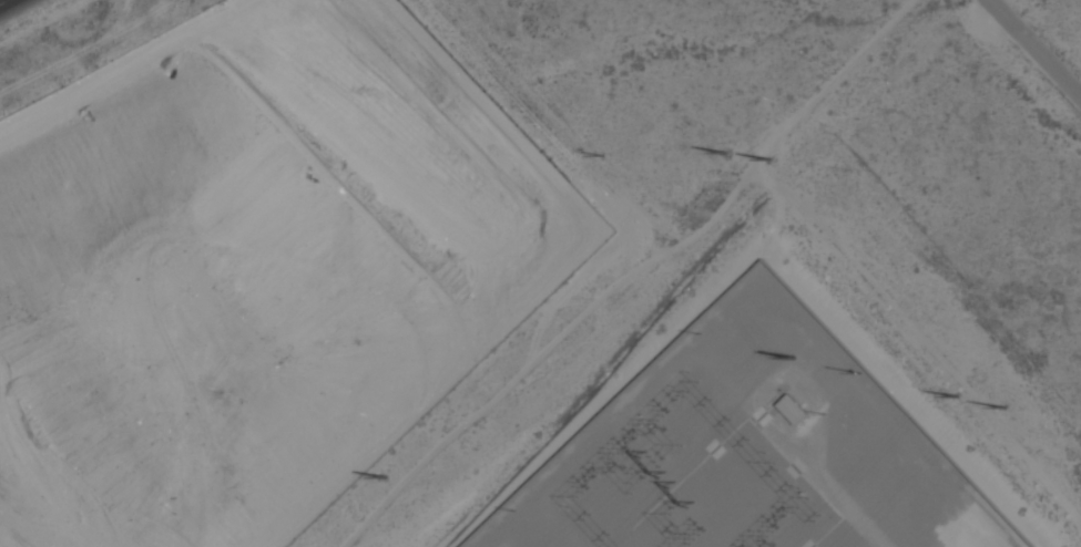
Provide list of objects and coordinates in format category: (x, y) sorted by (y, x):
road: (3, 1)
road: (1038, 44)
power tower: (725, 154)
power tower: (771, 159)
landfill: (248, 262)
building: (791, 409)
power substation: (749, 451)
power tower: (386, 476)
road: (836, 492)

